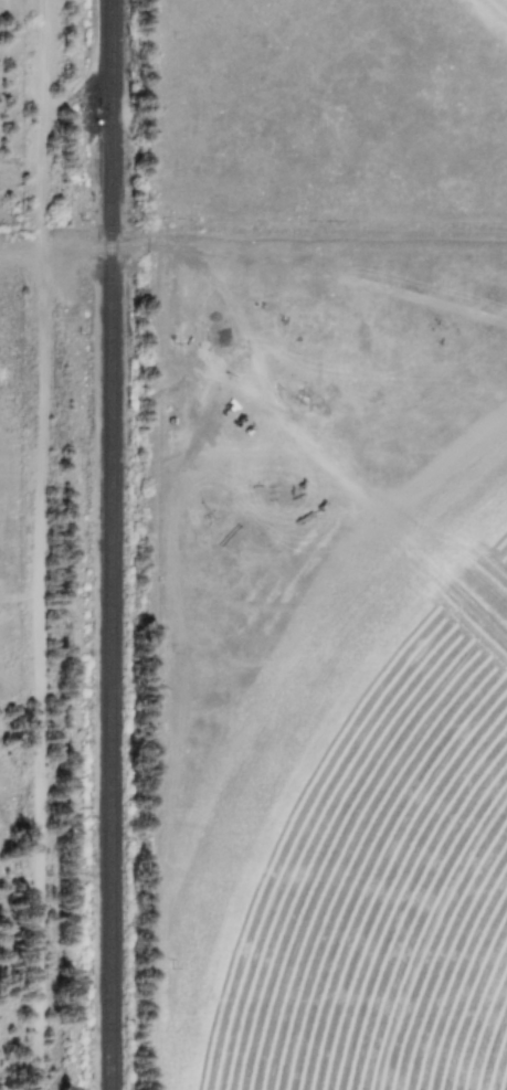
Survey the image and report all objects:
crop: (496, 9)
road: (134, 250)
road: (40, 544)
railway: (105, 544)
crop: (366, 854)

